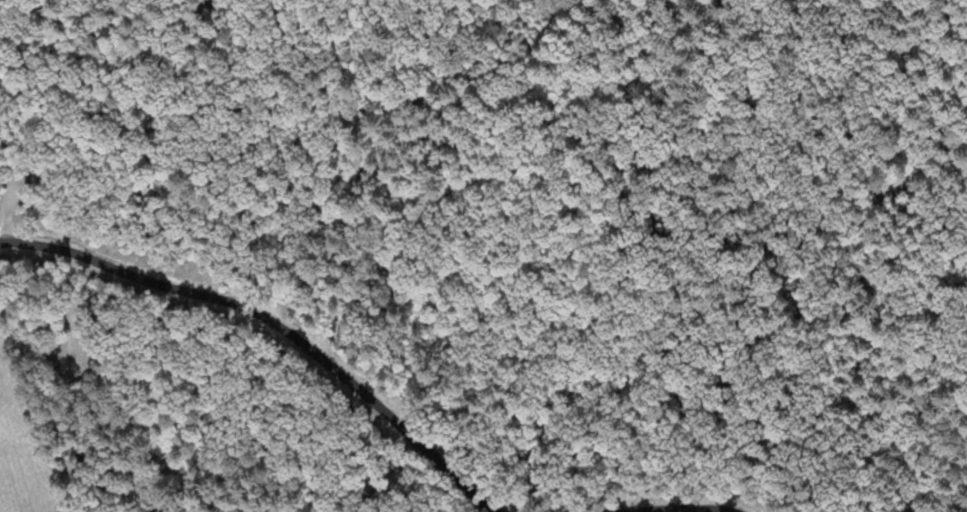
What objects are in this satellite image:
road: (276, 323)
road: (962, 504)
road: (679, 509)

